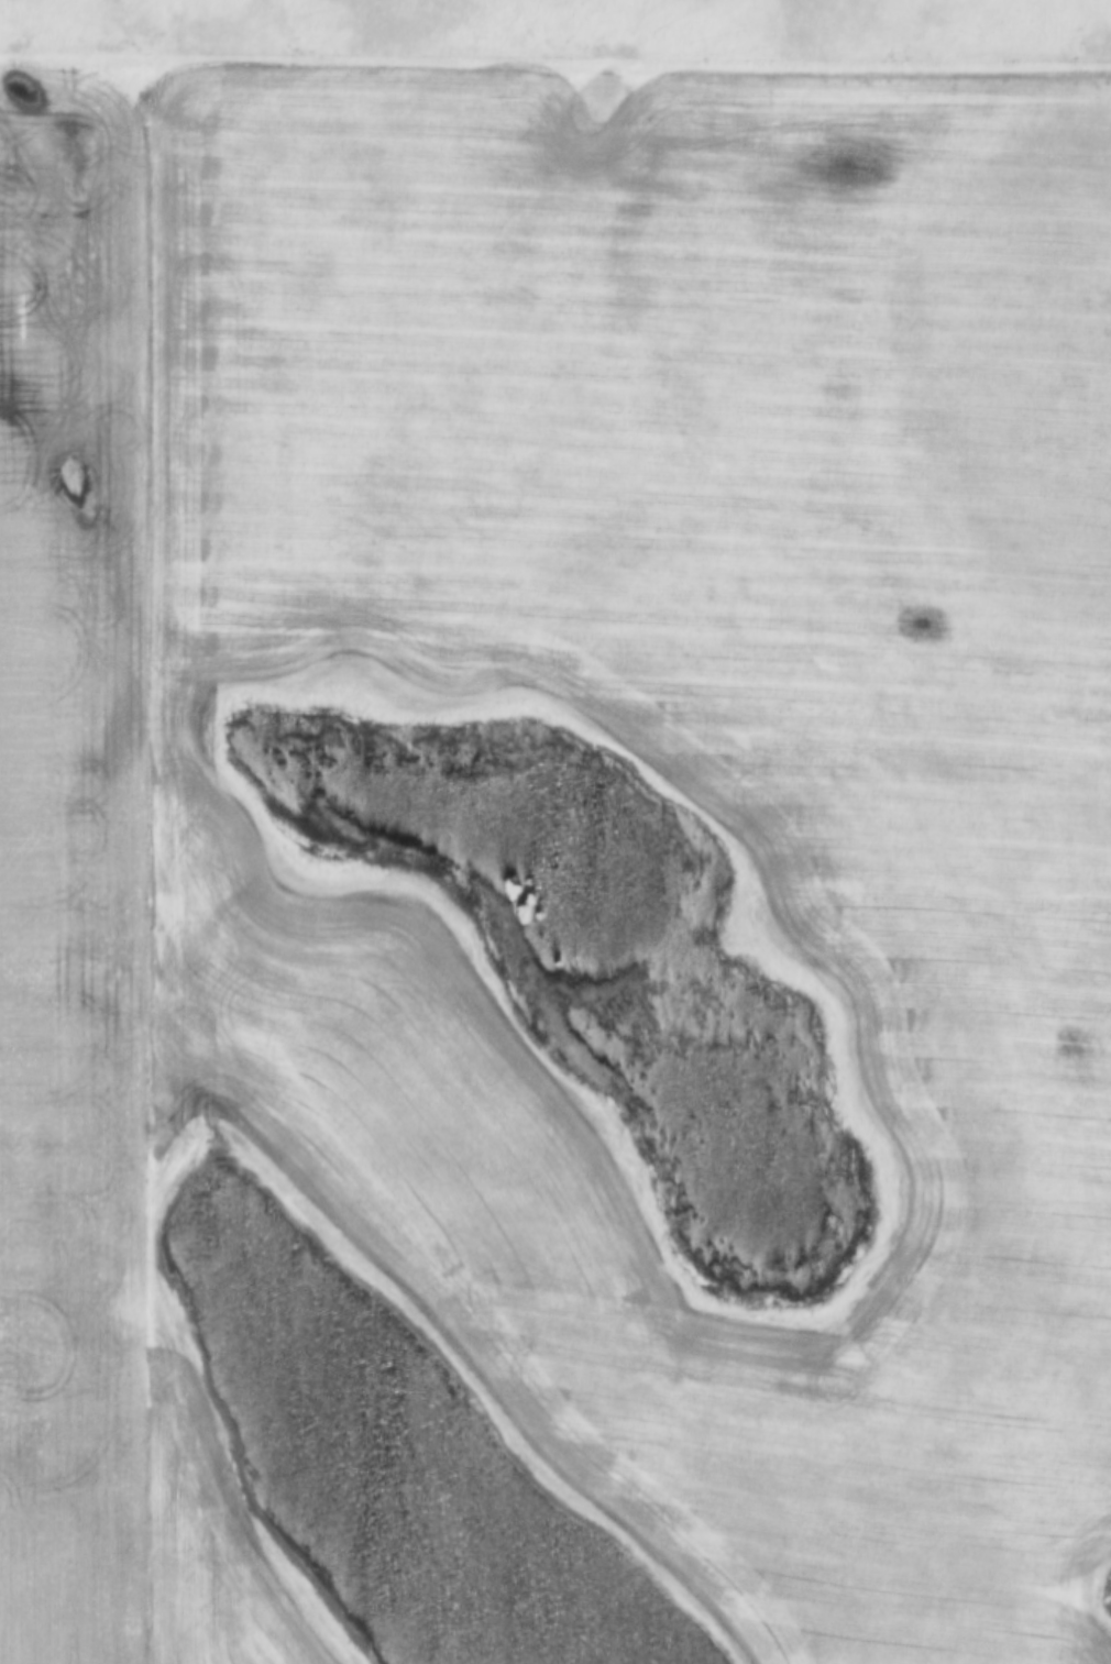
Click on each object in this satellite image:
road: (554, 69)

